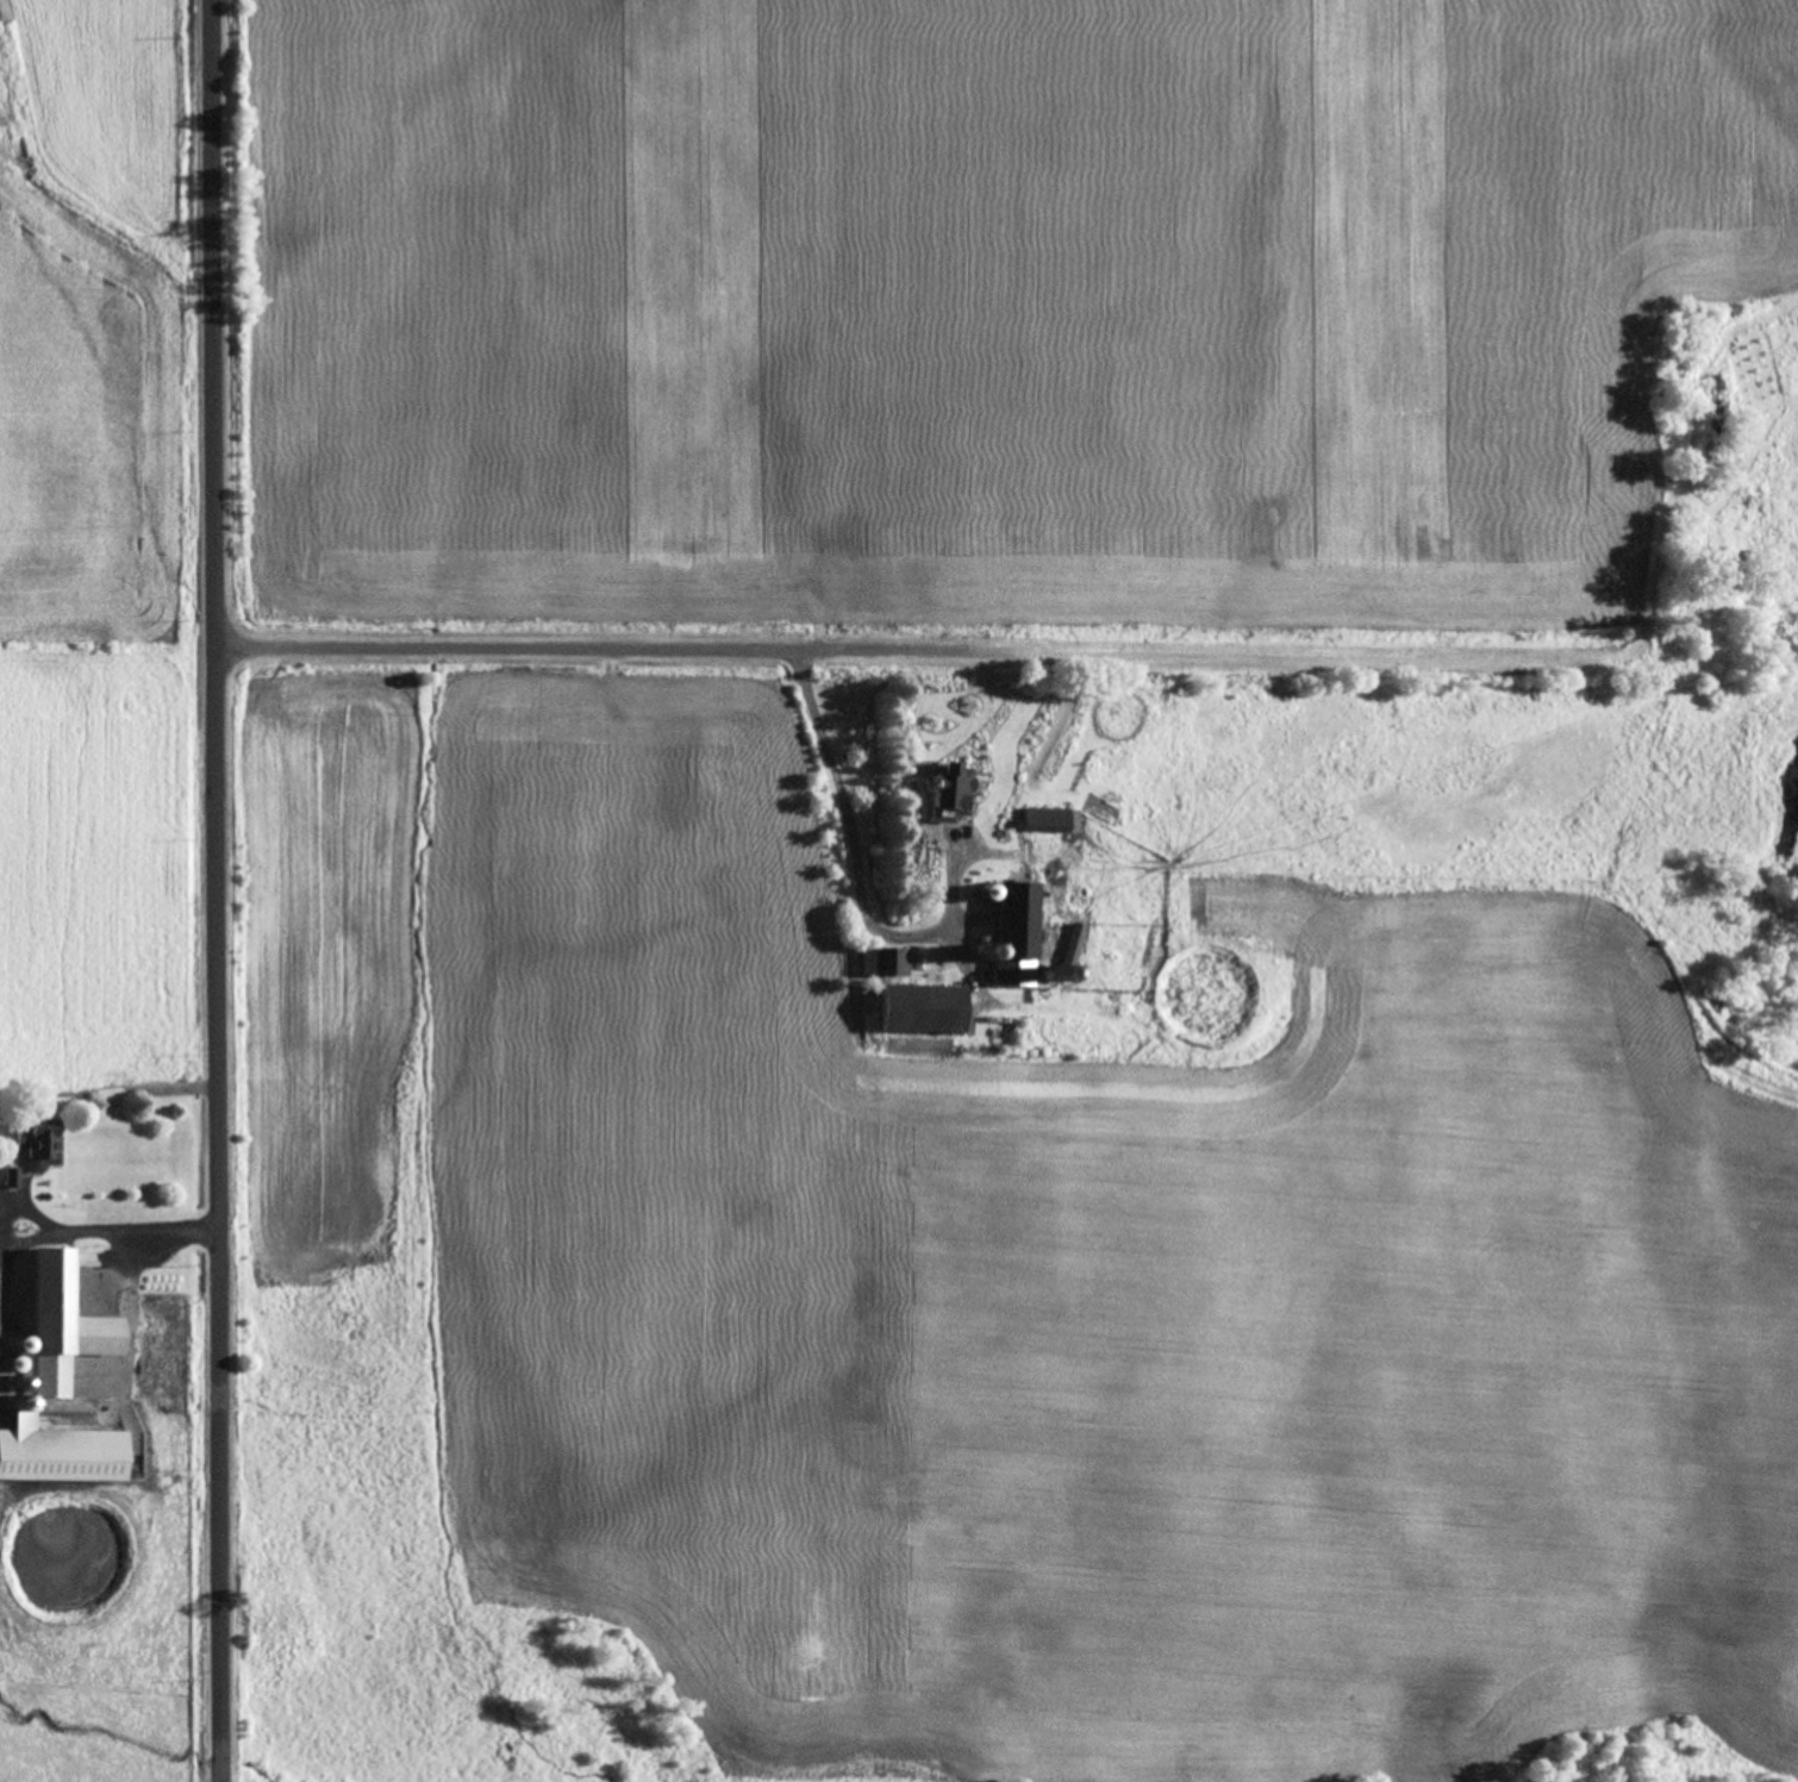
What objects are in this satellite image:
road: (1179, 656)
building: (944, 796)
building: (1048, 821)
road: (855, 868)
road: (221, 890)
building: (1010, 936)
building: (885, 963)
building: (1301, 978)
building: (918, 1011)
building: (36, 1142)
road: (26, 1211)
road: (136, 1225)
road: (26, 1234)
building: (62, 1340)

